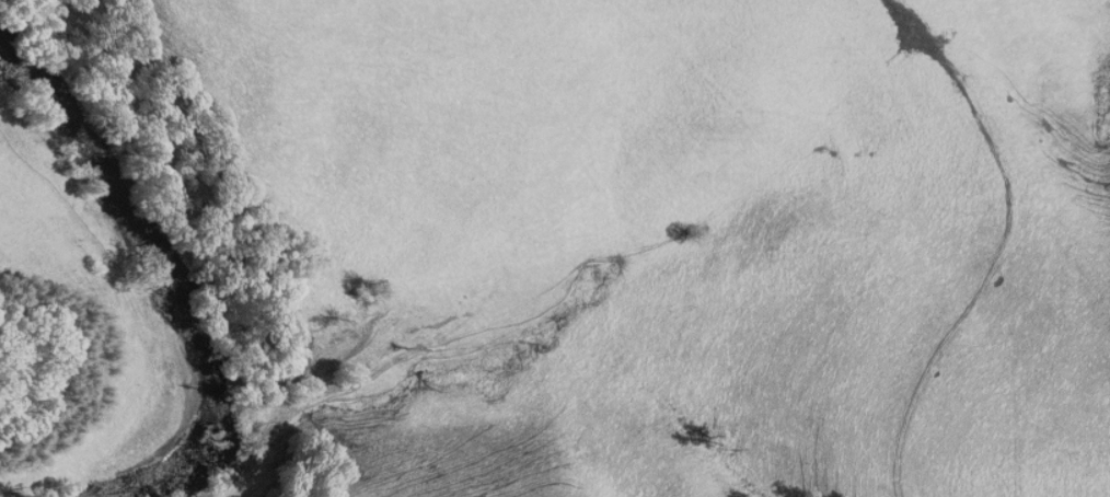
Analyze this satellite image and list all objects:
river: (194, 271)

